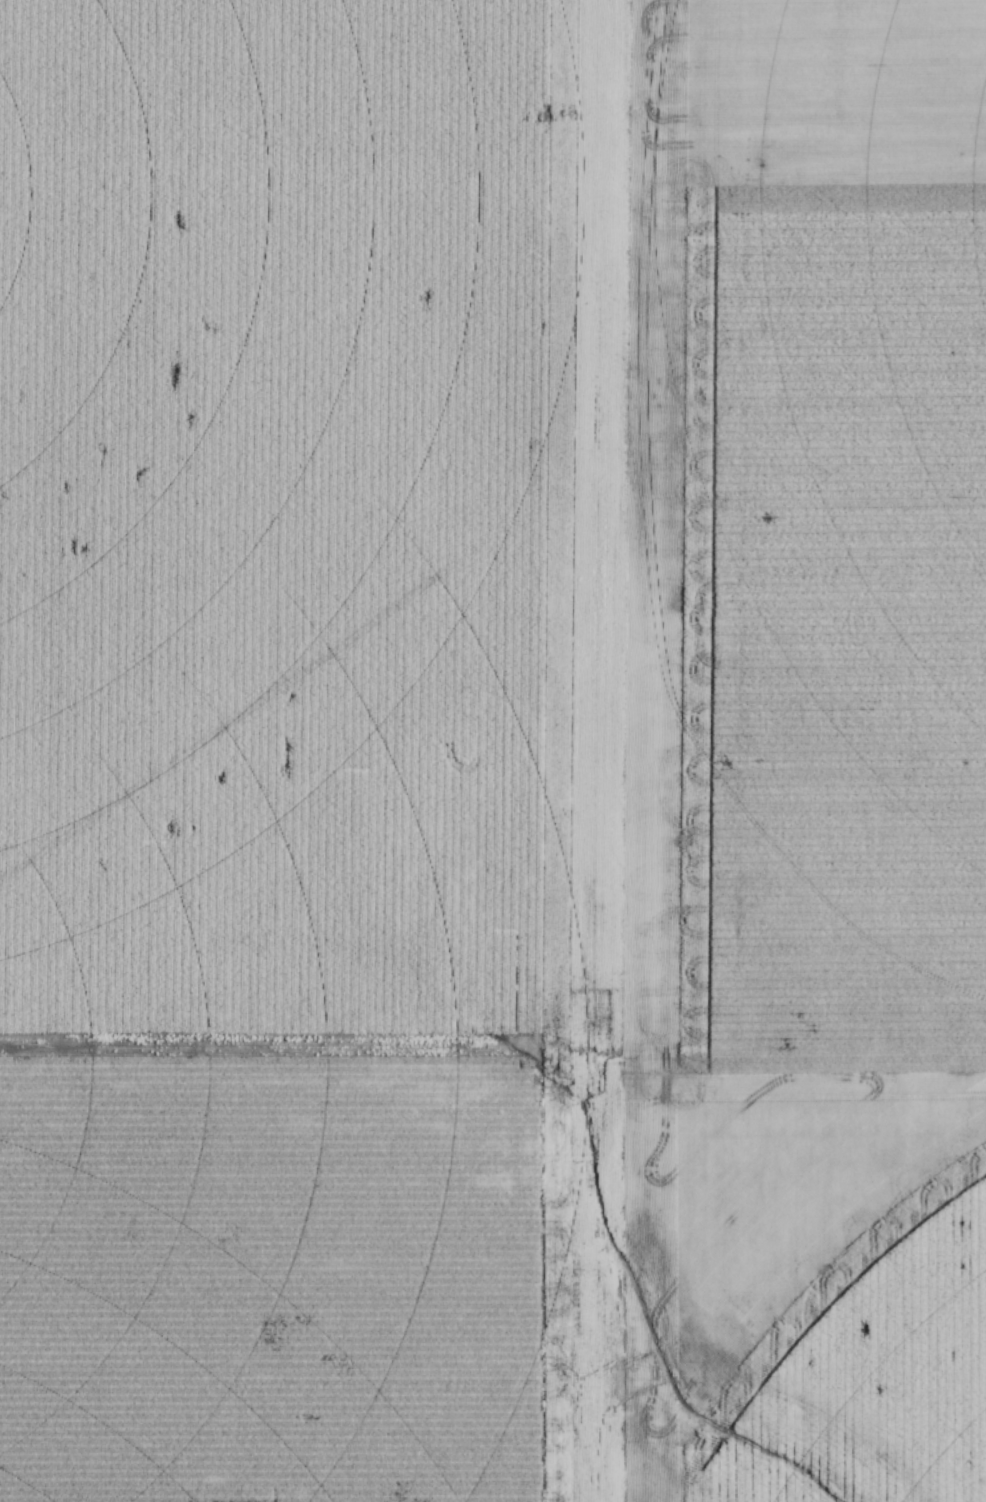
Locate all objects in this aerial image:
crop: (315, 750)

